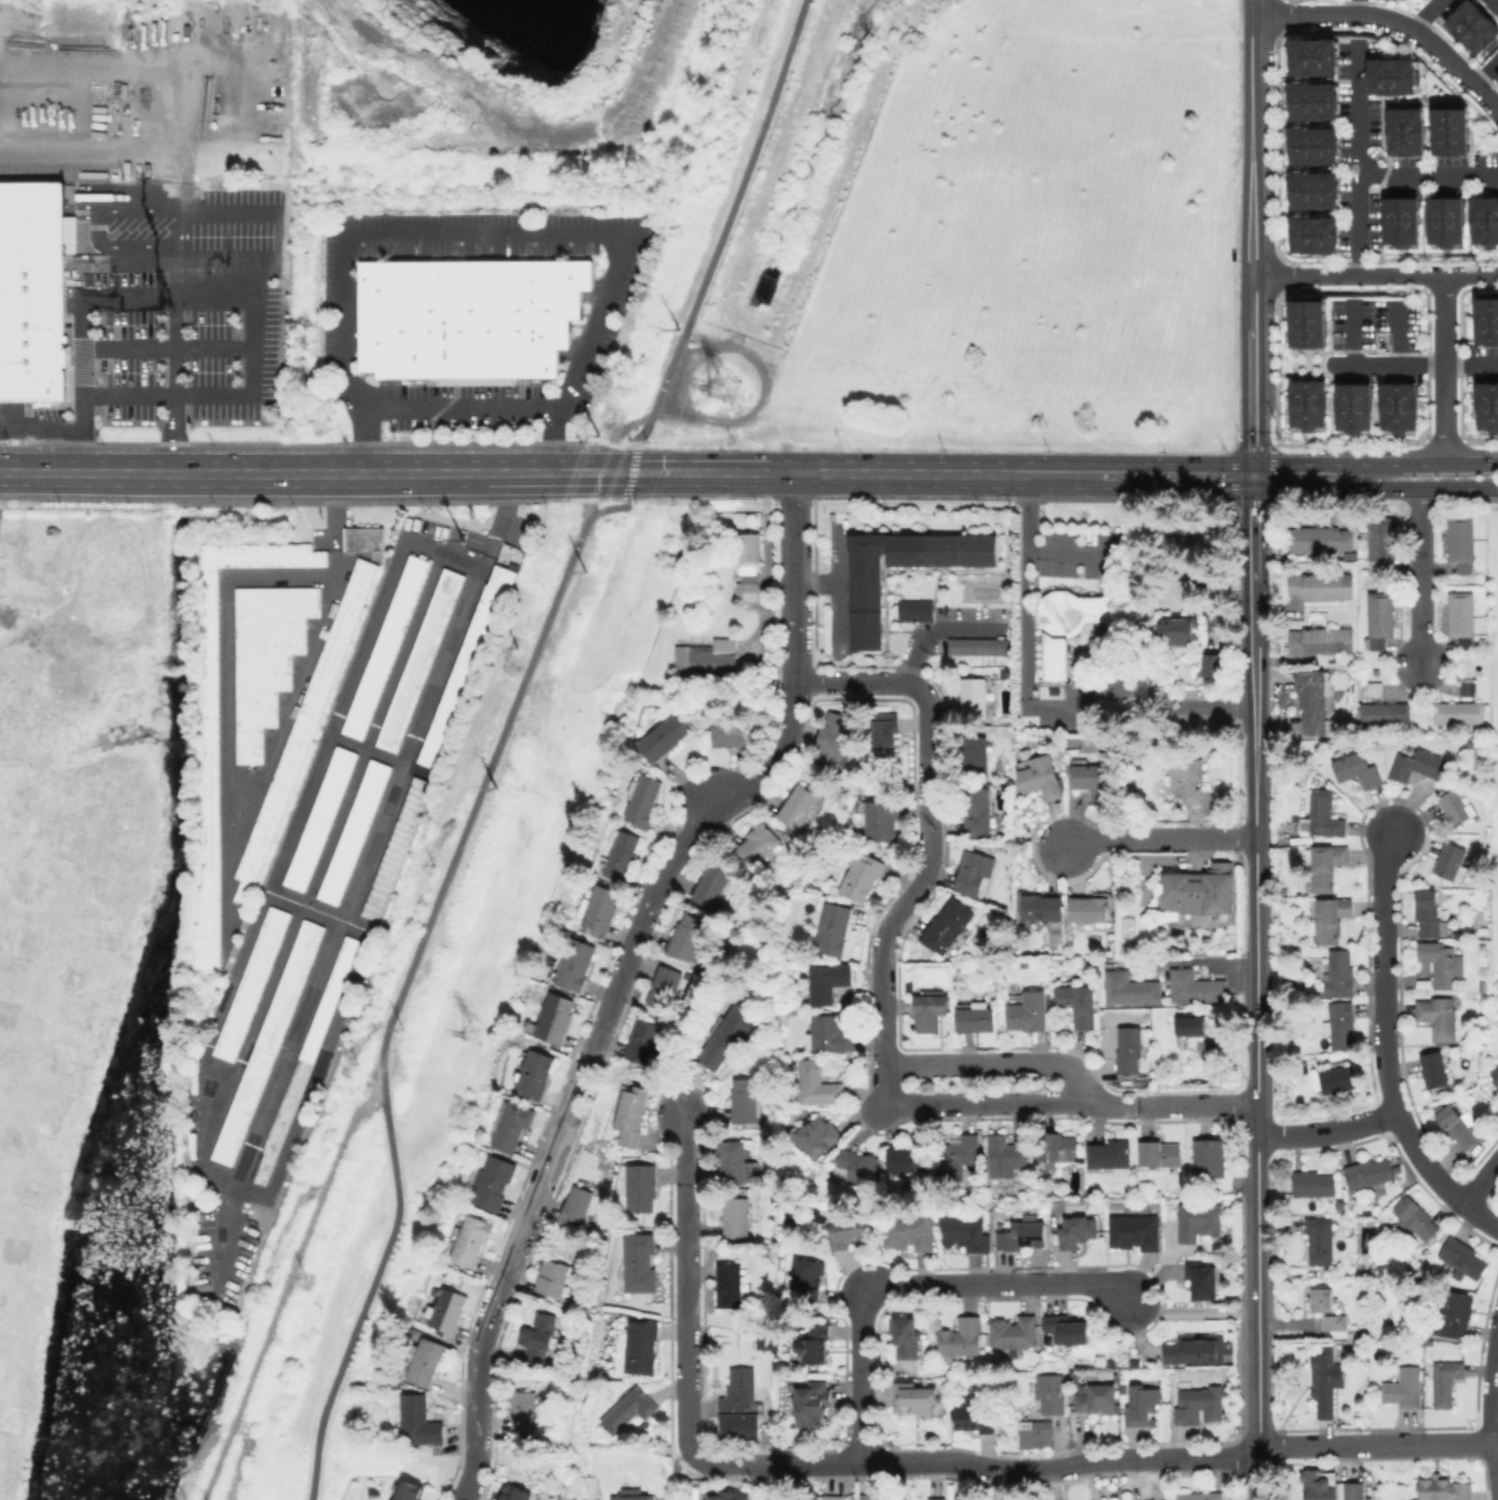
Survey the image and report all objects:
building: (1492, 5)
road: (1361, 7)
road: (1433, 16)
road: (1391, 17)
building: (1471, 27)
building: (1311, 55)
building: (1391, 76)
building: (1496, 77)
road: (1488, 78)
quarry: (490, 84)
road: (550, 86)
building: (1311, 101)
building: (1404, 131)
building: (1449, 131)
building: (1311, 145)
road: (1360, 160)
road: (1429, 176)
building: (1311, 190)
building: (34, 218)
building: (1399, 221)
building: (1444, 221)
building: (1484, 221)
road: (727, 224)
road: (135, 229)
road: (494, 232)
building: (1312, 234)
road: (1251, 238)
road: (1374, 275)
road: (84, 303)
road: (173, 311)
building: (469, 316)
building: (1486, 320)
building: (1307, 323)
building: (32, 327)
road: (166, 345)
road: (250, 345)
road: (1415, 366)
road: (1444, 369)
power tower: (721, 387)
building: (1306, 404)
building: (1352, 406)
building: (1397, 406)
building: (1486, 406)
road: (468, 409)
road: (41, 428)
road: (623, 431)
road: (620, 461)
road: (659, 461)
road: (593, 465)
road: (1297, 465)
road: (1423, 465)
road: (632, 472)
road: (737, 472)
road: (86, 473)
road: (377, 473)
road: (911, 474)
road: (1065, 475)
road: (1176, 476)
traffic signals: (1251, 477)
road: (603, 485)
road: (656, 485)
road: (1372, 489)
road: (602, 511)
building: (365, 538)
building: (1320, 539)
building: (1462, 542)
building: (1380, 543)
road: (1067, 553)
building: (749, 568)
road: (1418, 580)
building: (1293, 584)
building: (1312, 586)
building: (1337, 586)
building: (866, 607)
building: (916, 611)
road: (1023, 611)
building: (1380, 618)
building: (1462, 618)
building: (1065, 626)
building: (1173, 630)
road: (941, 631)
building: (1313, 640)
building: (1338, 640)
building: (1293, 641)
building: (387, 646)
building: (979, 646)
building: (705, 654)
building: (267, 656)
building: (421, 660)
building: (470, 664)
building: (1209, 665)
road: (794, 676)
building: (1465, 688)
building: (974, 698)
building: (1312, 699)
road: (1218, 708)
building: (1455, 712)
building: (1381, 713)
building: (212, 716)
building: (305, 726)
building: (731, 734)
building: (664, 736)
building: (884, 738)
building: (833, 739)
building: (975, 757)
building: (1419, 764)
building: (1357, 770)
building: (1040, 775)
building: (1187, 779)
building: (1314, 779)
road: (486, 780)
building: (1093, 780)
road: (251, 786)
building: (642, 800)
road: (712, 800)
building: (801, 804)
building: (1457, 807)
building: (977, 811)
building: (1322, 814)
road: (927, 817)
building: (320, 818)
building: (881, 819)
building: (788, 828)
building: (353, 831)
building: (786, 835)
road: (1253, 835)
road: (1159, 838)
building: (757, 844)
building: (398, 848)
building: (620, 854)
building: (1450, 860)
building: (1325, 865)
building: (971, 872)
building: (861, 876)
building: (711, 884)
building: (1201, 892)
building: (1041, 907)
building: (600, 909)
building: (1089, 909)
building: (1428, 912)
building: (1331, 918)
building: (948, 926)
building: (833, 929)
building: (1482, 930)
building: (687, 936)
road: (1197, 961)
building: (1442, 963)
building: (576, 964)
building: (1340, 974)
building: (828, 981)
building: (249, 983)
rooftop solar panel: (1422, 985)
building: (663, 987)
building: (1196, 987)
building: (1287, 987)
building: (1131, 988)
building: (1078, 1003)
building: (929, 1012)
building: (1028, 1012)
building: (976, 1017)
building: (555, 1018)
building: (1438, 1018)
building: (1340, 1024)
building: (1191, 1025)
road: (1381, 1026)
power tower: (468, 1030)
building: (829, 1034)
building: (729, 1035)
building: (641, 1040)
building: (265, 1042)
building: (1129, 1049)
road: (997, 1059)
building: (1434, 1071)
building: (535, 1073)
building: (1495, 1075)
building: (1338, 1079)
road: (884, 1082)
building: (817, 1084)
building: (744, 1100)
road: (1070, 1100)
building: (633, 1114)
building: (512, 1125)
building: (1459, 1126)
road: (1326, 1131)
building: (818, 1136)
building: (1057, 1148)
building: (1159, 1153)
building: (1005, 1156)
building: (959, 1157)
building: (1111, 1157)
building: (1209, 1157)
building: (905, 1159)
building: (733, 1160)
road: (548, 1161)
building: (857, 1166)
building: (1369, 1174)
road: (1479, 1180)
building: (495, 1181)
building: (1313, 1183)
building: (642, 1187)
building: (576, 1204)
road: (1479, 1215)
building: (738, 1217)
building: (1415, 1221)
building: (1201, 1222)
building: (849, 1229)
building: (1135, 1231)
building: (1077, 1232)
building: (911, 1233)
building: (965, 1233)
building: (1022, 1238)
building: (472, 1239)
building: (1320, 1240)
building: (1462, 1258)
building: (640, 1261)
road: (380, 1266)
building: (1380, 1270)
building: (807, 1275)
building: (551, 1277)
building: (1203, 1280)
road: (910, 1283)
building: (729, 1284)
road: (684, 1285)
building: (1322, 1299)
road: (1191, 1310)
building: (448, 1311)
building: (1453, 1315)
building: (1335, 1322)
road: (1258, 1323)
building: (1068, 1329)
building: (539, 1331)
building: (1015, 1332)
building: (962, 1339)
building: (907, 1340)
building: (774, 1342)
building: (813, 1345)
building: (642, 1346)
building: (1197, 1349)
building: (428, 1360)
building: (1108, 1363)
building: (1075, 1376)
building: (1326, 1381)
building: (1445, 1381)
road: (1491, 1381)
building: (1404, 1388)
building: (1050, 1392)
building: (741, 1394)
building: (918, 1400)
building: (1097, 1400)
building: (812, 1402)
building: (1142, 1403)
building: (1200, 1406)
building: (524, 1409)
building: (629, 1409)
building: (974, 1417)
building: (420, 1418)
building: (1036, 1434)
road: (1094, 1459)
road: (1492, 1471)
road: (674, 1473)
road: (1259, 1476)
road: (777, 1481)
building: (1315, 1484)
building: (1435, 1487)
building: (1347, 1490)
building: (411, 1491)
building: (1462, 1491)
building: (516, 1495)
building: (632, 1496)
building: (1199, 1496)
building: (731, 1497)
building: (833, 1497)
building: (882, 1497)
building: (578, 1498)
building: (937, 1498)

